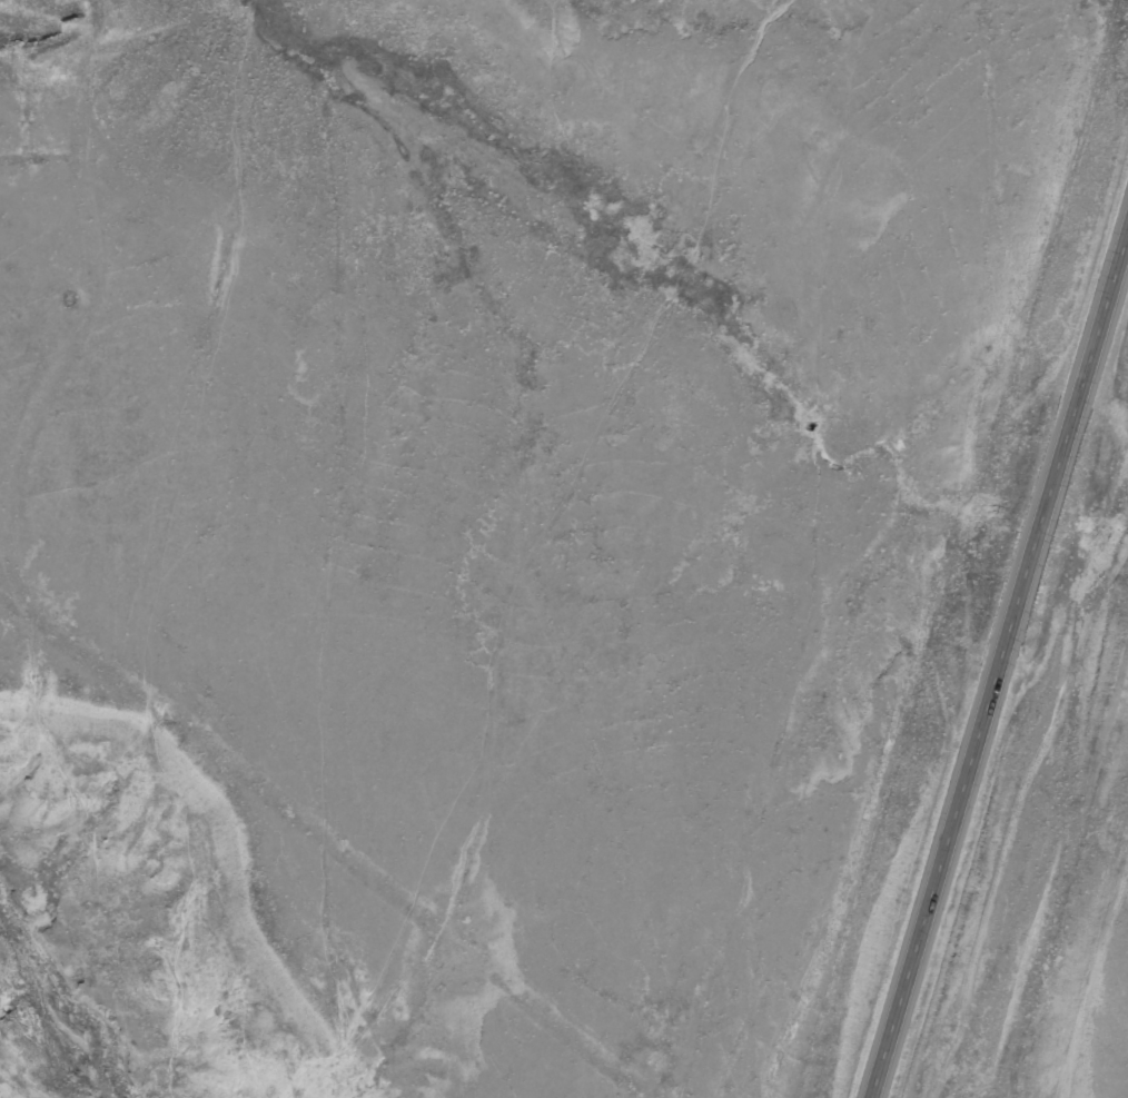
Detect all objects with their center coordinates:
road: (998, 663)

